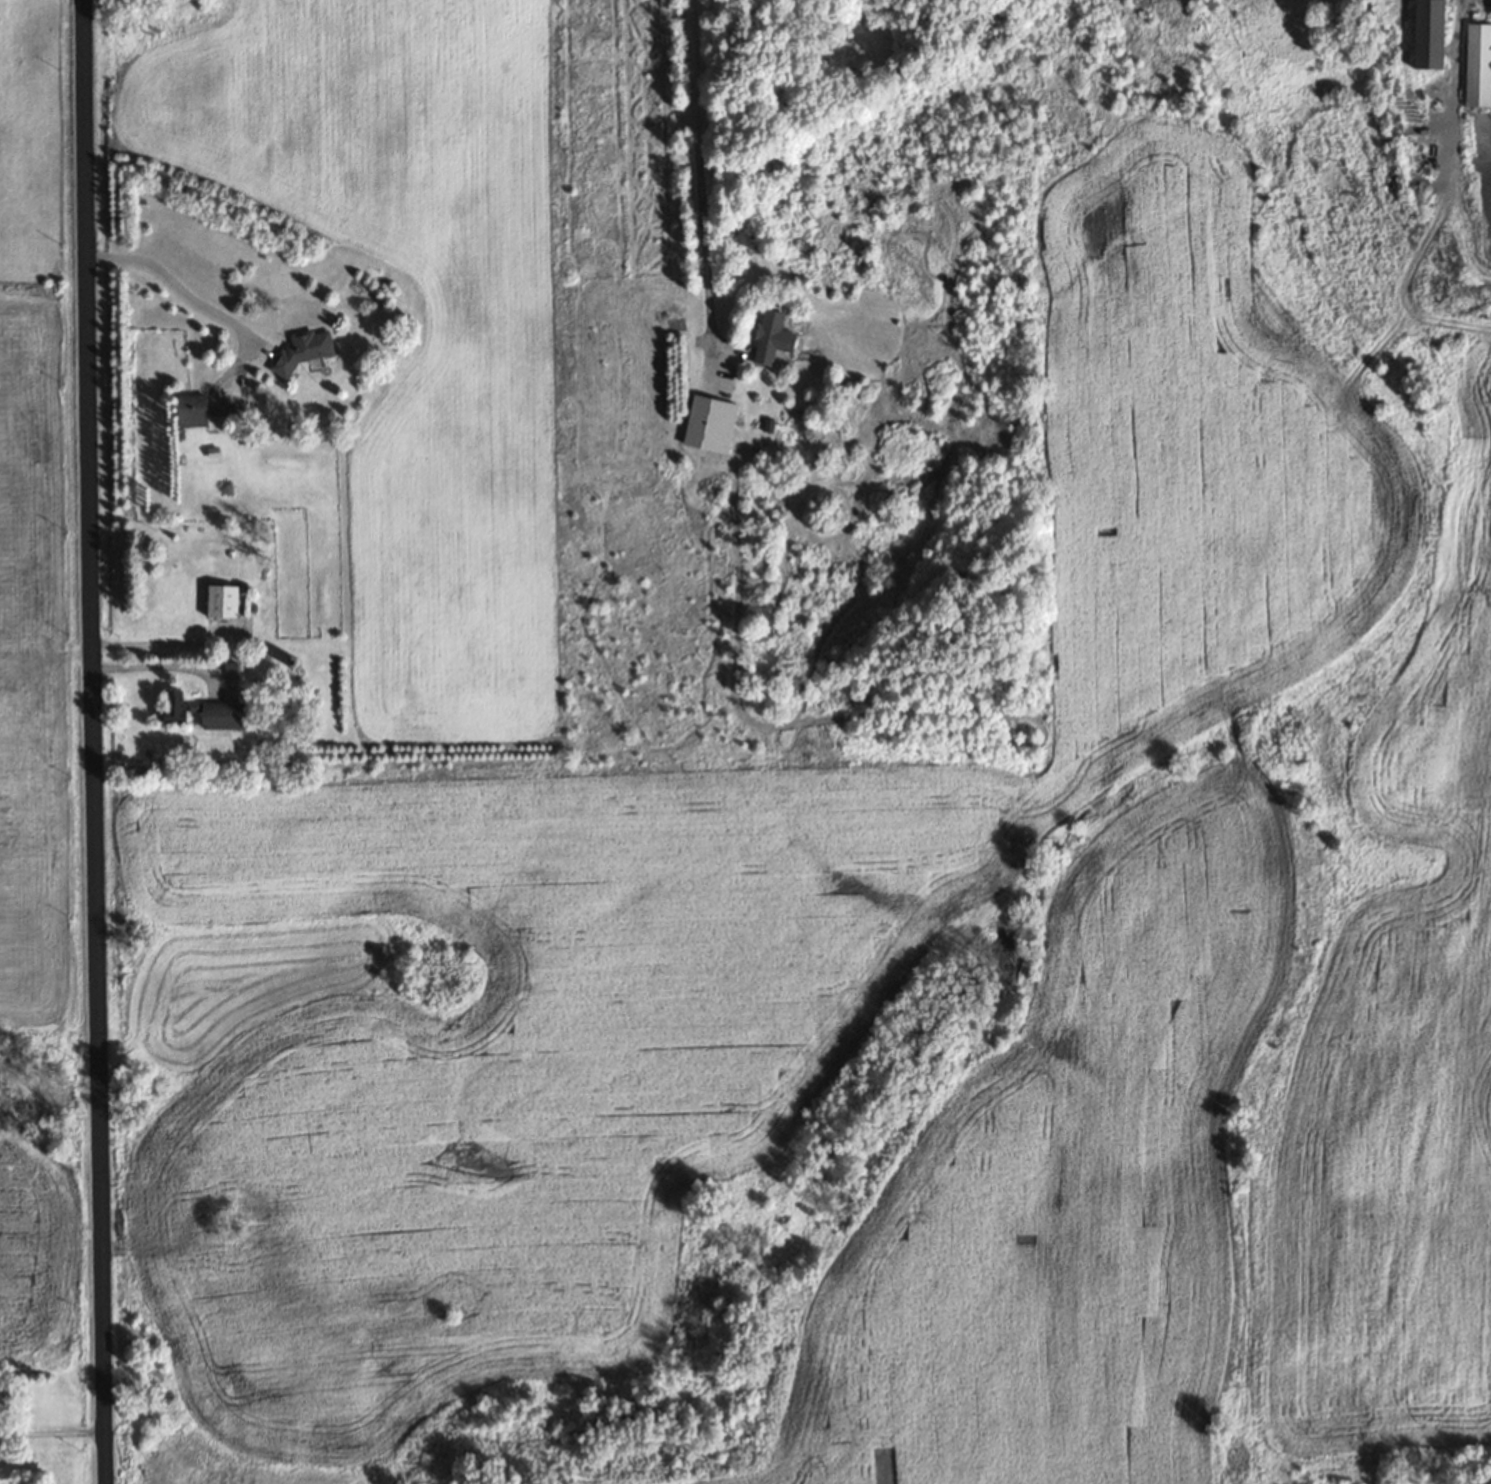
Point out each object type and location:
building: (1490, 7)
building: (1427, 34)
building: (1477, 65)
road: (701, 172)
road: (231, 320)
building: (766, 337)
building: (301, 348)
building: (189, 409)
building: (708, 424)
building: (219, 601)
building: (199, 712)
road: (94, 742)
road: (53, 1431)

